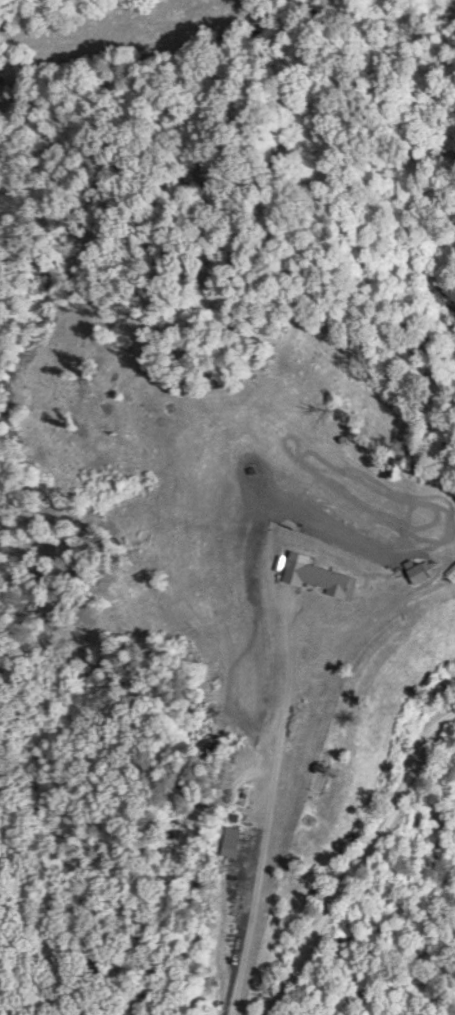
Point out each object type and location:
building: (417, 574)
building: (318, 578)
road: (358, 867)

